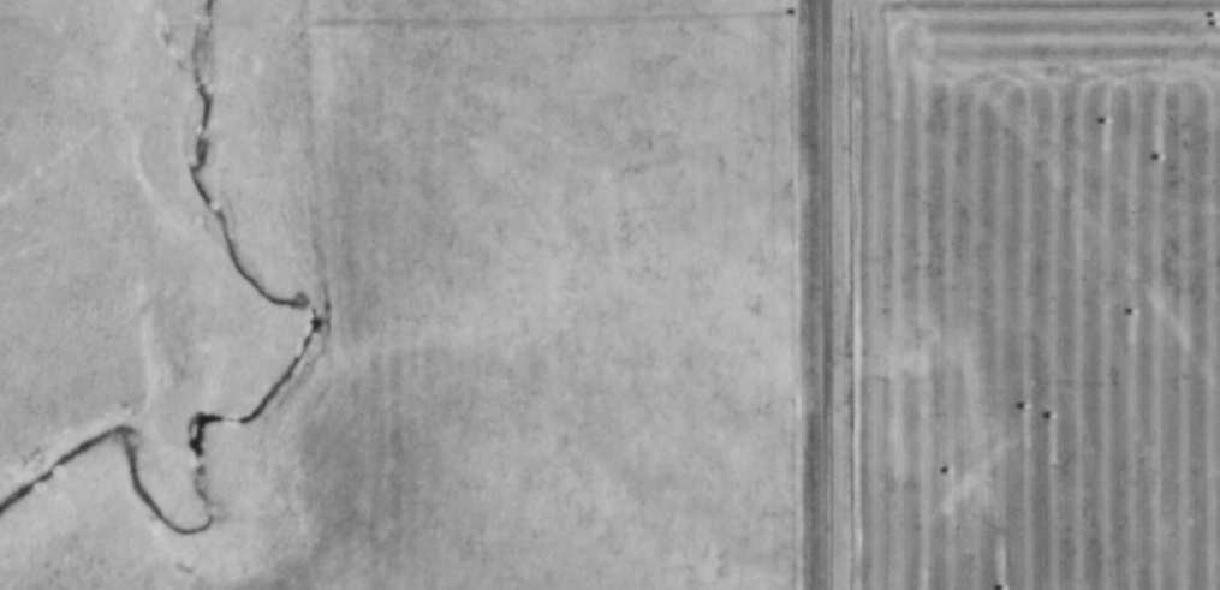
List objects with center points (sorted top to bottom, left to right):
road: (829, 294)

